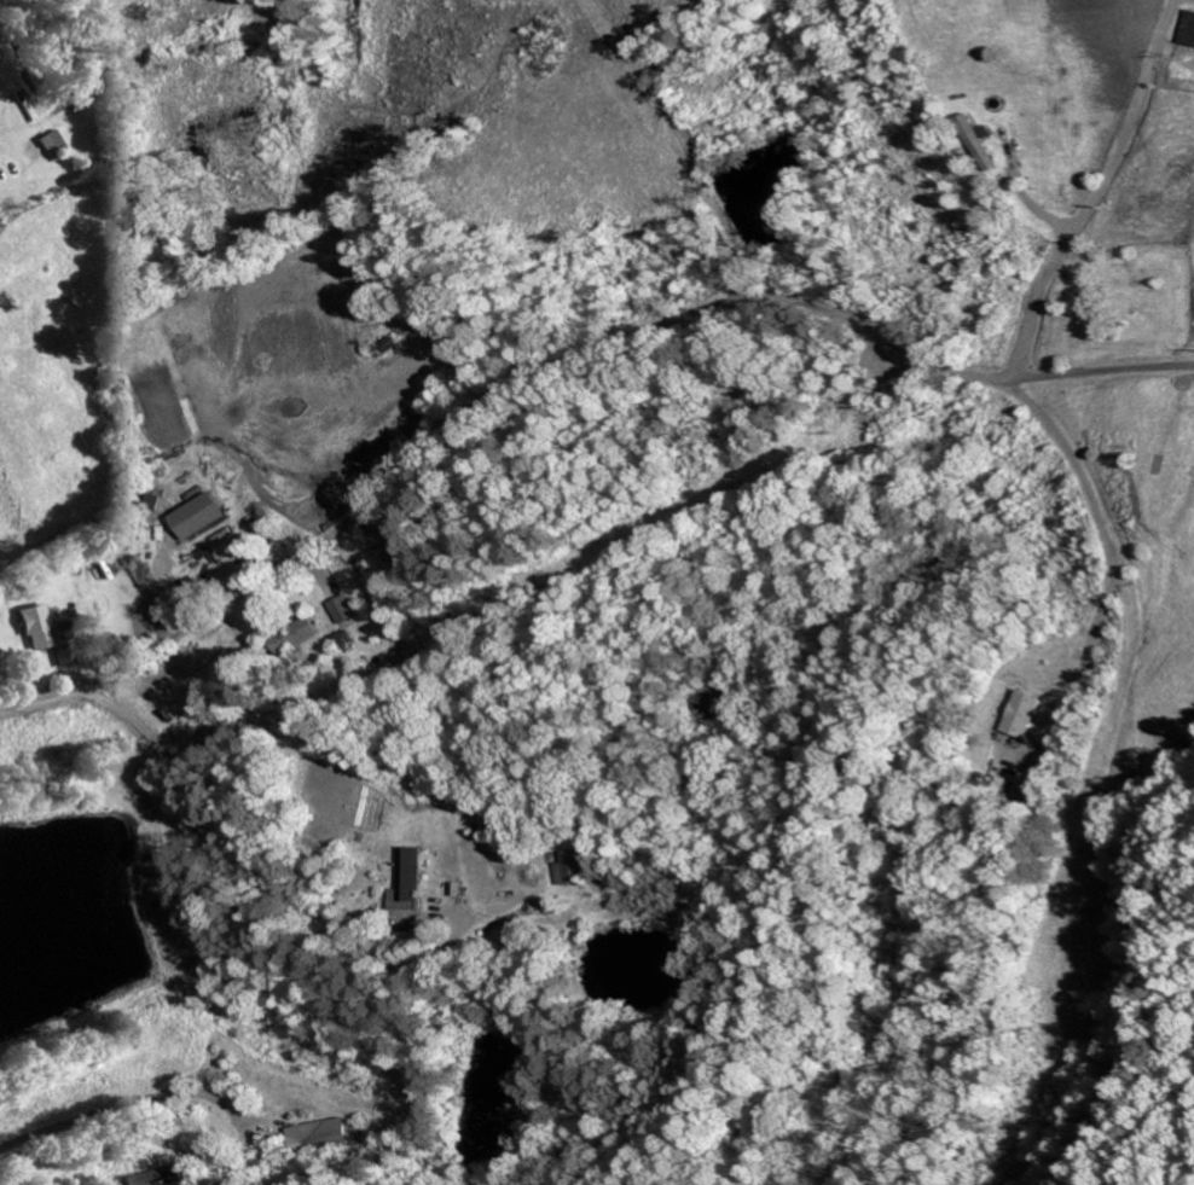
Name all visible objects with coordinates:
building: (1179, 30)
building: (990, 141)
building: (52, 145)
road: (1088, 188)
road: (558, 366)
building: (196, 515)
building: (340, 609)
building: (40, 629)
building: (301, 631)
building: (1024, 714)
road: (122, 763)
building: (578, 866)
building: (411, 873)
building: (312, 1137)
building: (156, 1175)

